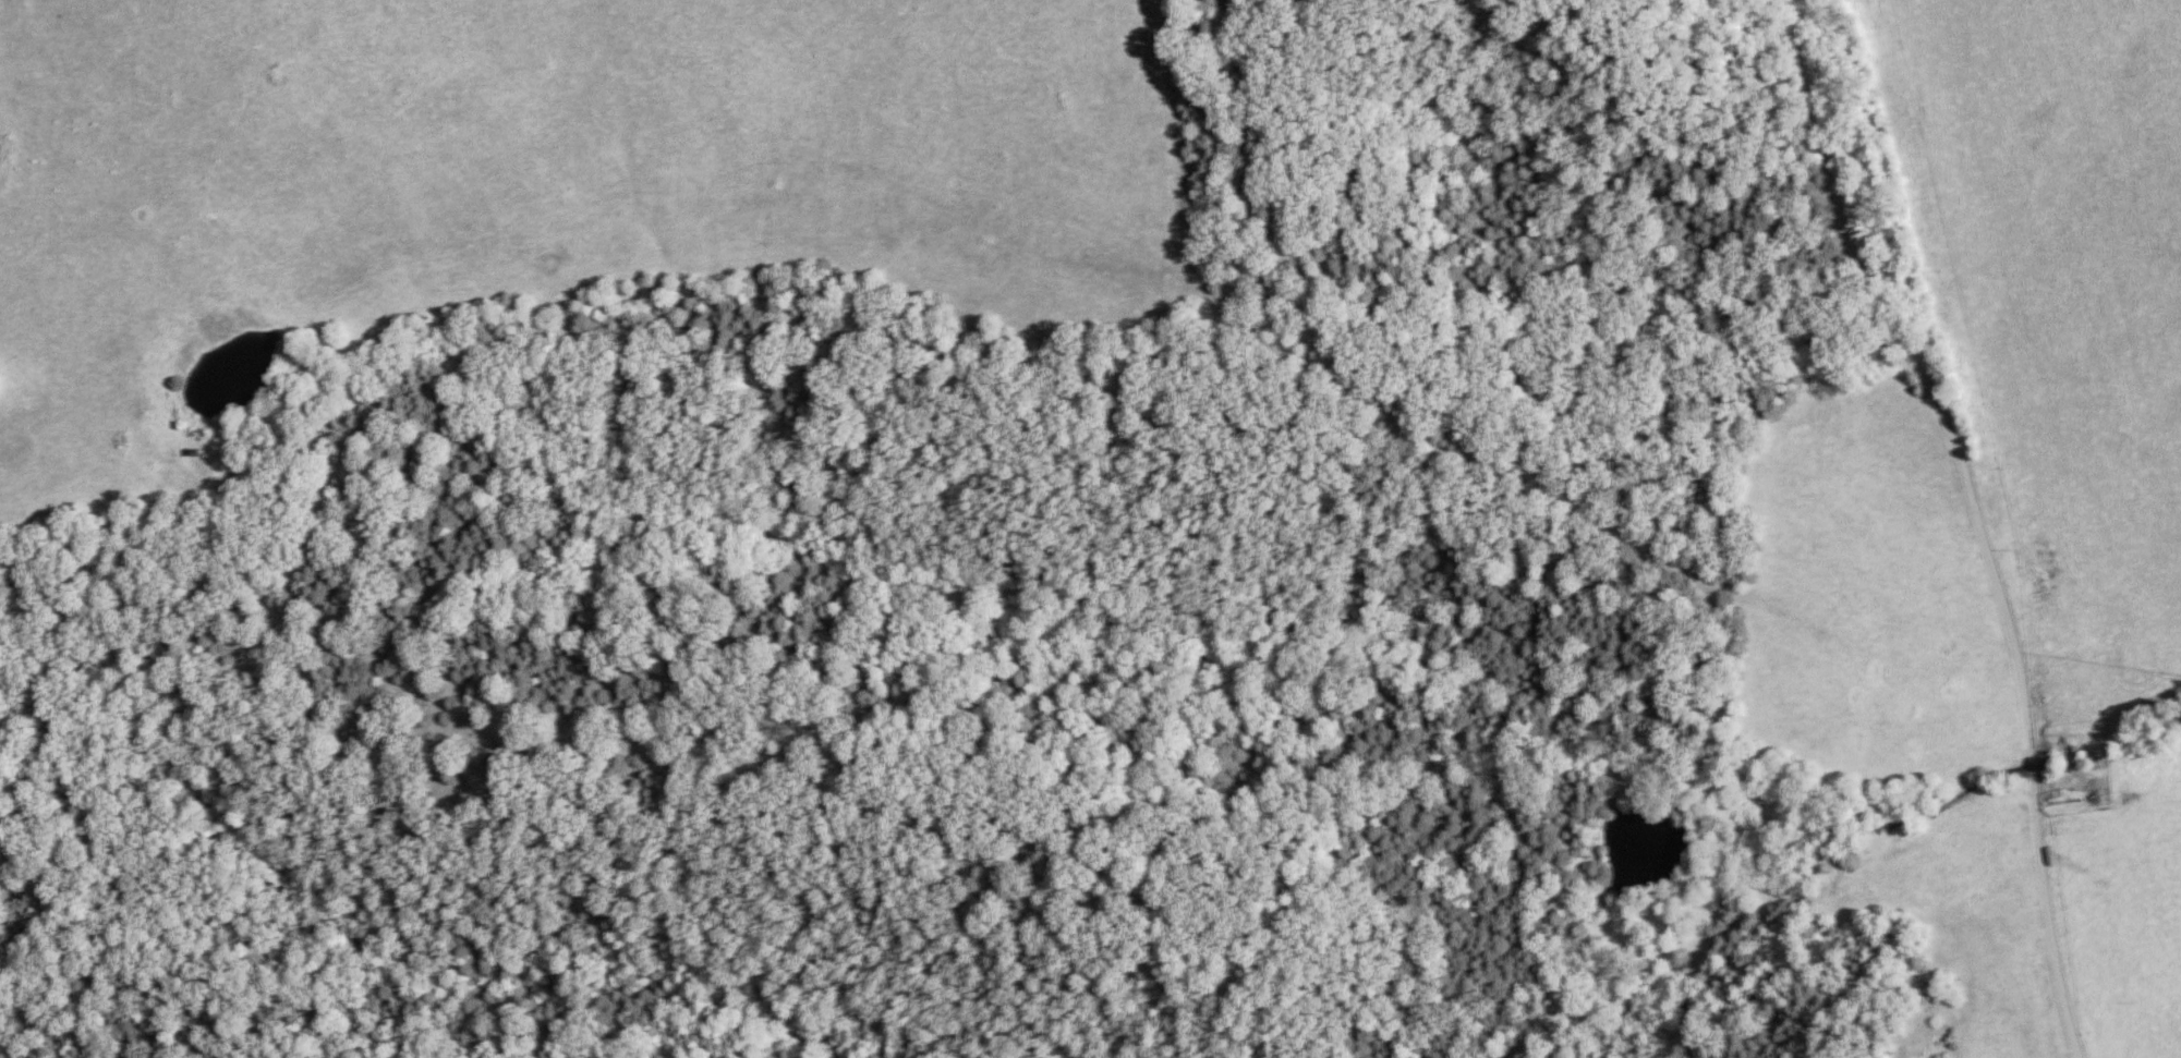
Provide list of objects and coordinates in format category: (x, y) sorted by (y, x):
road: (1982, 515)

